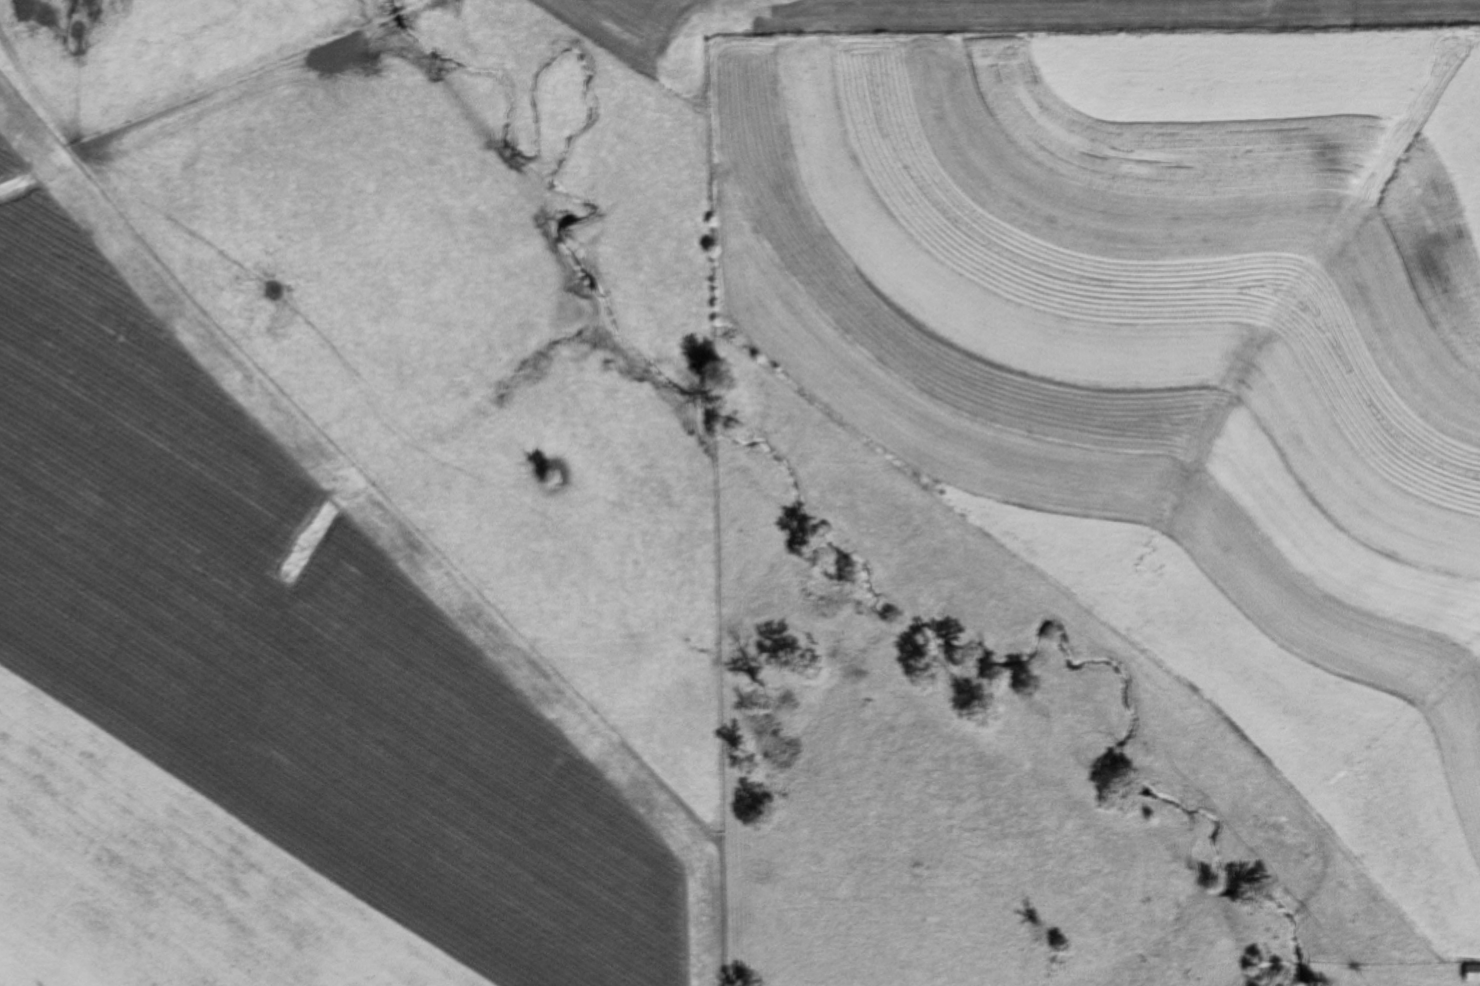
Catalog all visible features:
building: (1472, 973)

